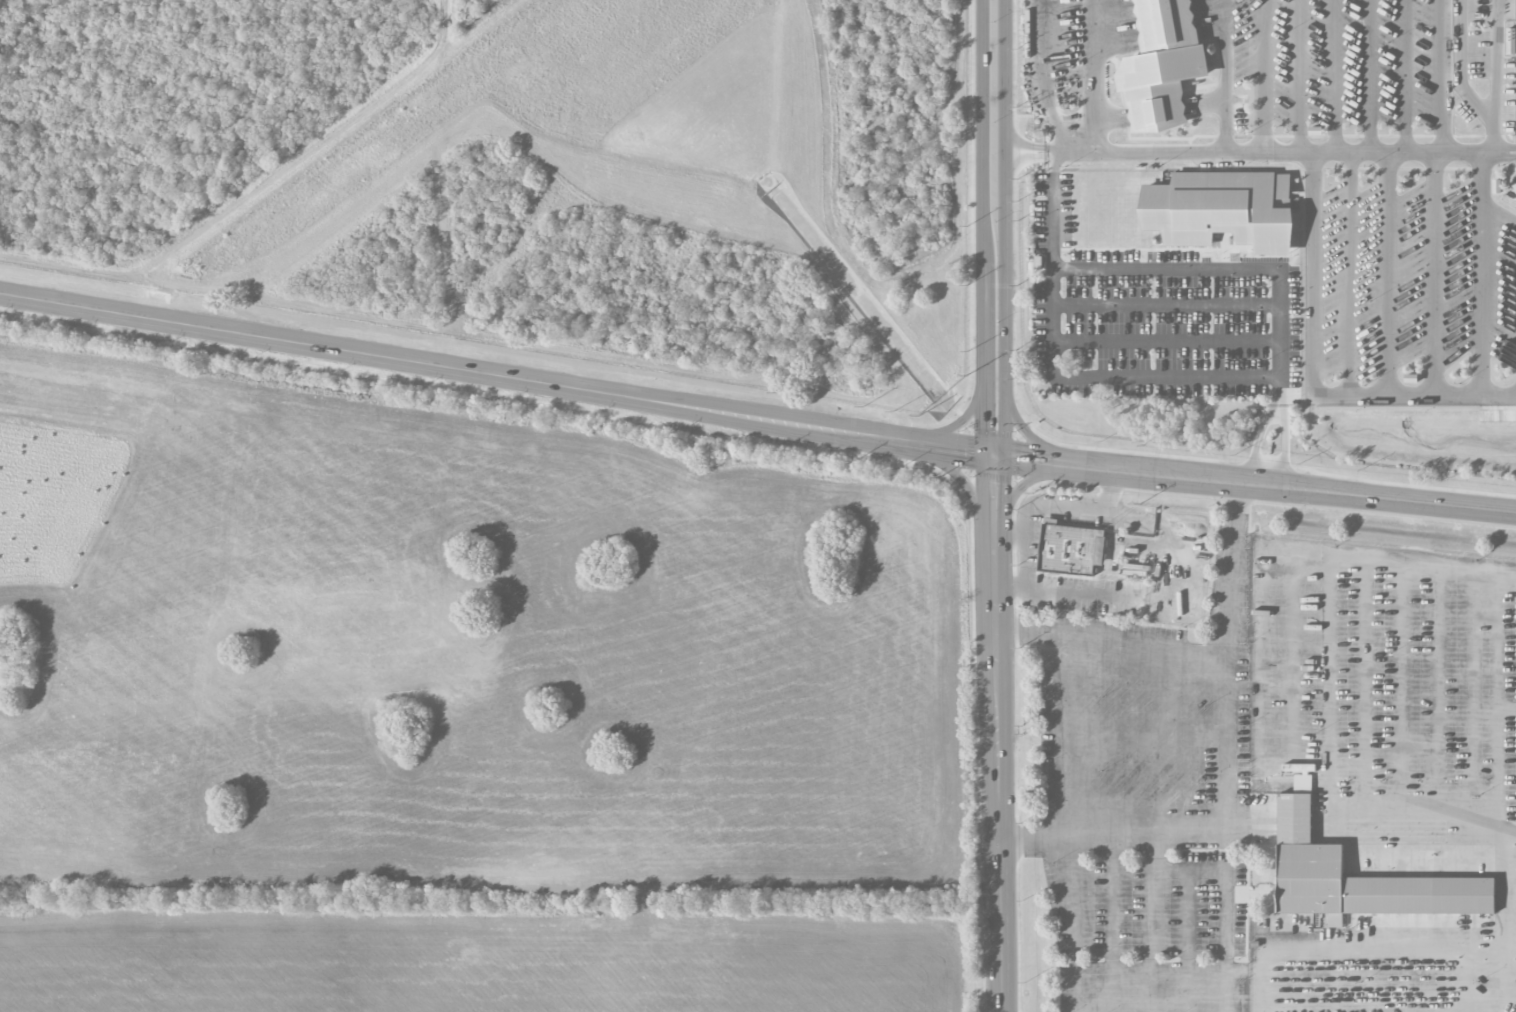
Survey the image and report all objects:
building: (1510, 46)
road: (1495, 61)
building: (1161, 66)
road: (1462, 66)
road: (1223, 75)
road: (1264, 75)
road: (1095, 76)
road: (1300, 76)
road: (1336, 76)
road: (1369, 76)
road: (1405, 76)
road: (1442, 76)
road: (1044, 78)
road: (982, 130)
road: (1493, 137)
road: (1259, 150)
building: (1282, 204)
building: (1221, 211)
road: (1003, 229)
road: (1314, 273)
road: (1167, 306)
road: (1167, 342)
road: (1481, 354)
road: (983, 359)
road: (1225, 378)
road: (1278, 395)
road: (1276, 413)
road: (755, 420)
road: (957, 424)
road: (1026, 434)
traffic signals: (993, 457)
road: (1264, 477)
road: (960, 480)
road: (1020, 488)
building: (1066, 550)
road: (1230, 568)
road: (1224, 661)
road: (997, 734)
road: (1065, 734)
road: (1499, 852)
building: (1310, 861)
road: (1166, 868)
road: (1112, 923)
road: (1071, 924)
road: (1246, 968)
road: (1266, 990)
road: (1472, 1005)

